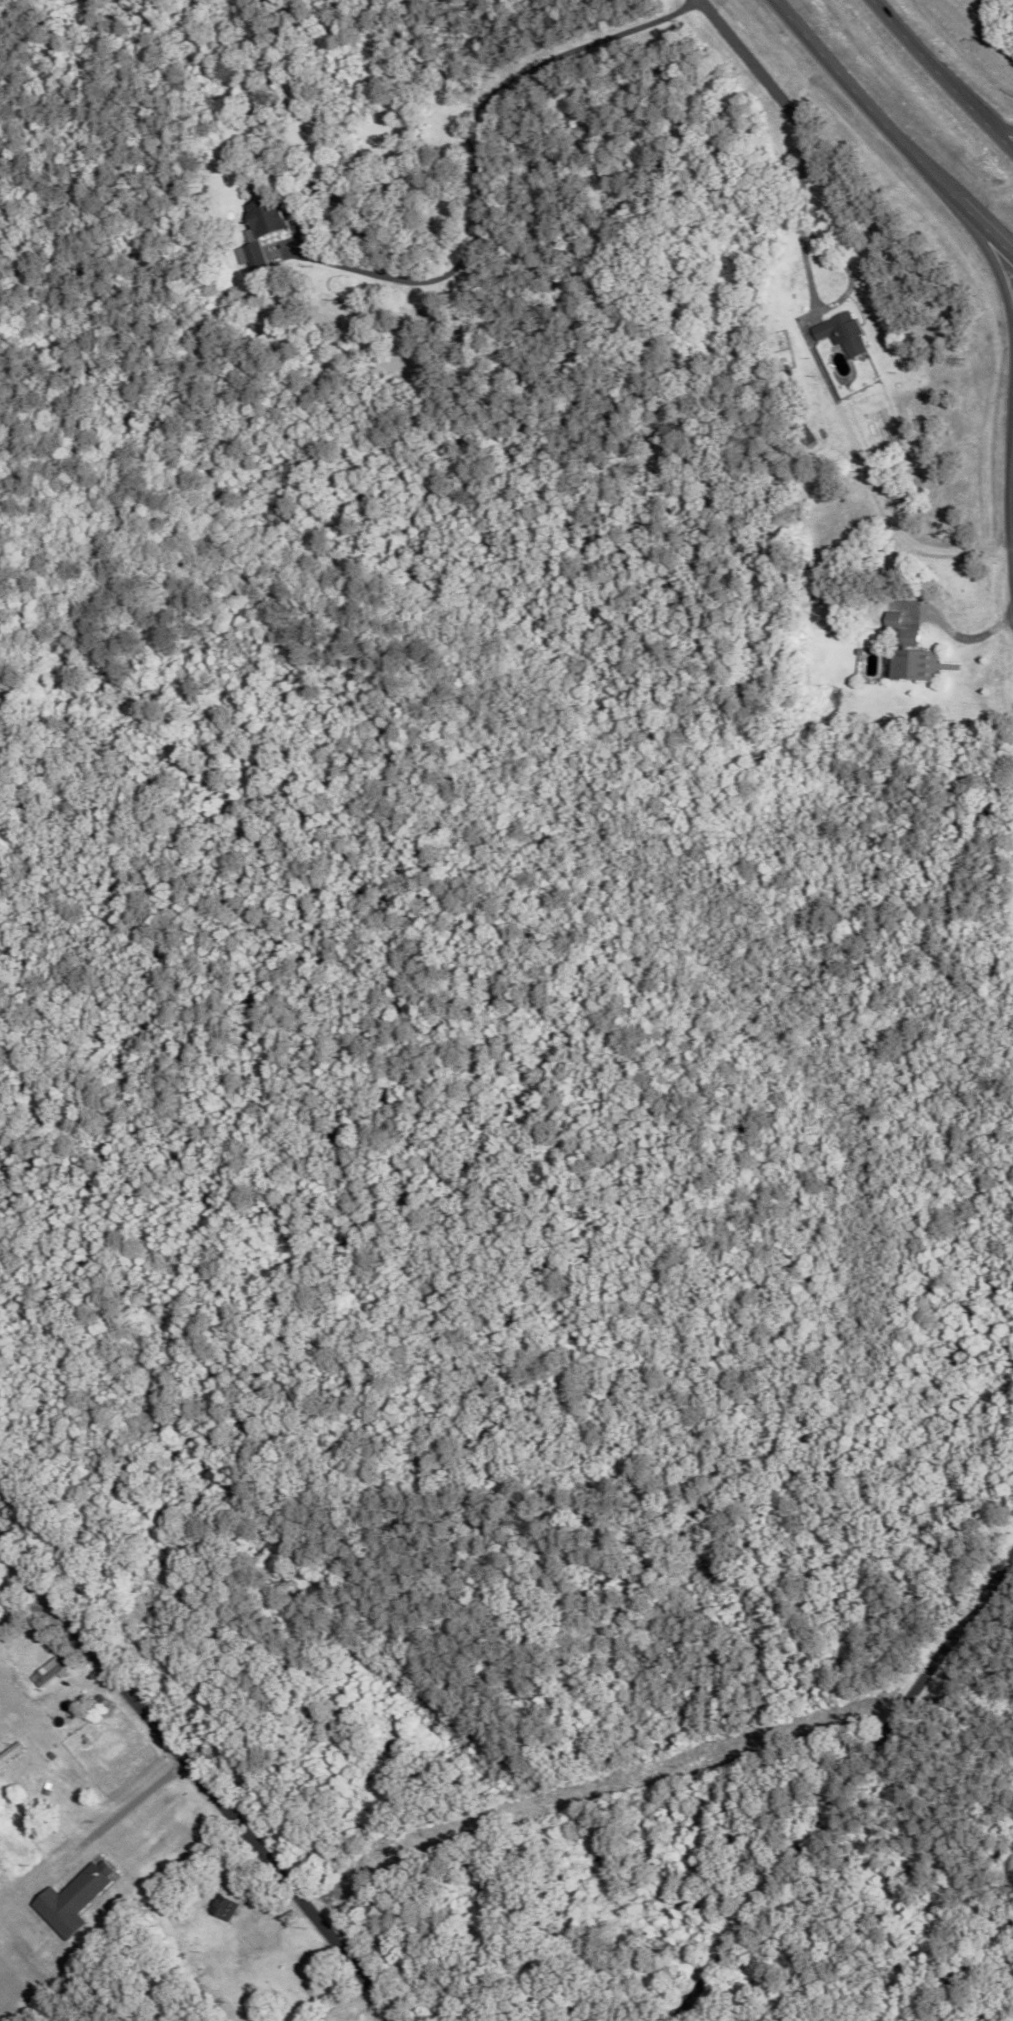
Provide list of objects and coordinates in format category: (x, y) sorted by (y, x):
road: (750, 62)
road: (940, 77)
road: (845, 82)
road: (485, 119)
road: (1003, 134)
road: (948, 193)
building: (272, 219)
road: (995, 240)
road: (805, 270)
road: (998, 276)
building: (840, 332)
road: (1009, 499)
road: (888, 520)
building: (910, 654)
road: (37, 1572)
building: (102, 1705)
road: (360, 1710)
road: (195, 1782)
road: (844, 1786)
building: (76, 1900)
building: (226, 1908)

